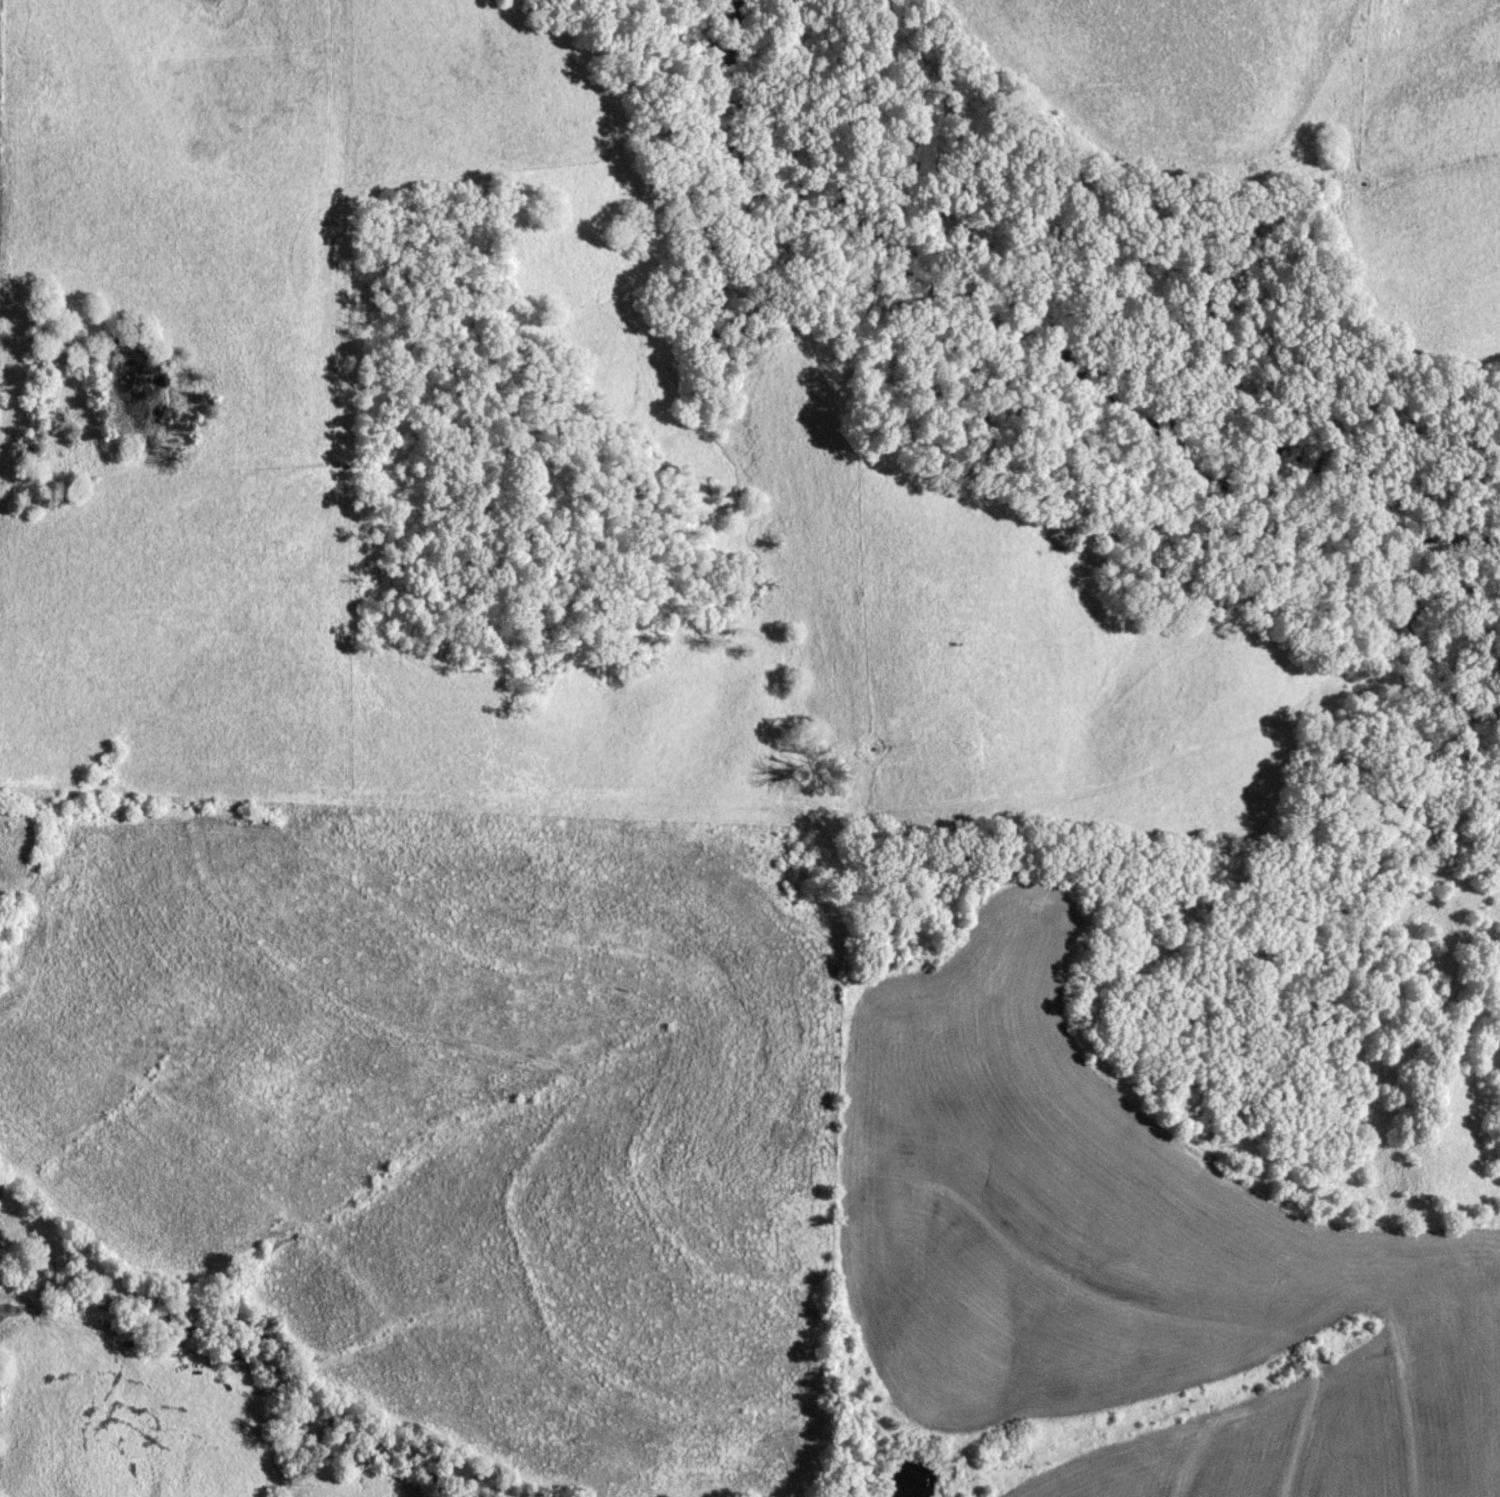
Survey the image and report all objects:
road: (20, 1297)

